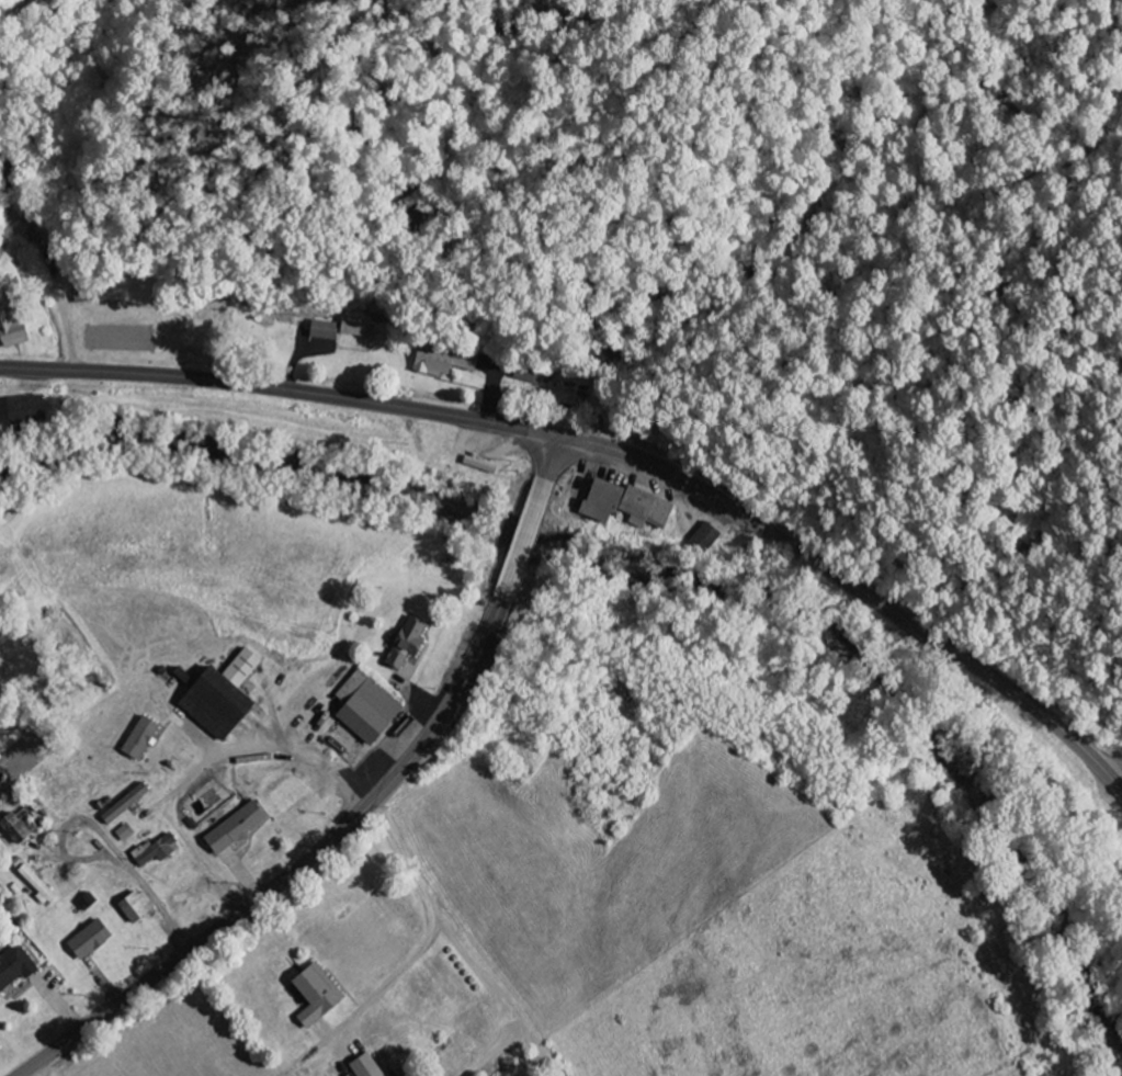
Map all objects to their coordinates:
building: (18, 330)
building: (328, 331)
building: (359, 331)
building: (443, 365)
building: (35, 411)
road: (610, 452)
building: (632, 507)
building: (408, 653)
building: (228, 696)
road: (428, 701)
building: (371, 707)
building: (145, 737)
road: (320, 766)
building: (129, 804)
road: (362, 814)
building: (22, 827)
building: (241, 828)
building: (127, 833)
building: (161, 849)
road: (400, 860)
building: (41, 885)
road: (148, 888)
building: (141, 907)
building: (94, 940)
building: (18, 970)
building: (322, 996)
building: (371, 1067)
road: (36, 1072)

